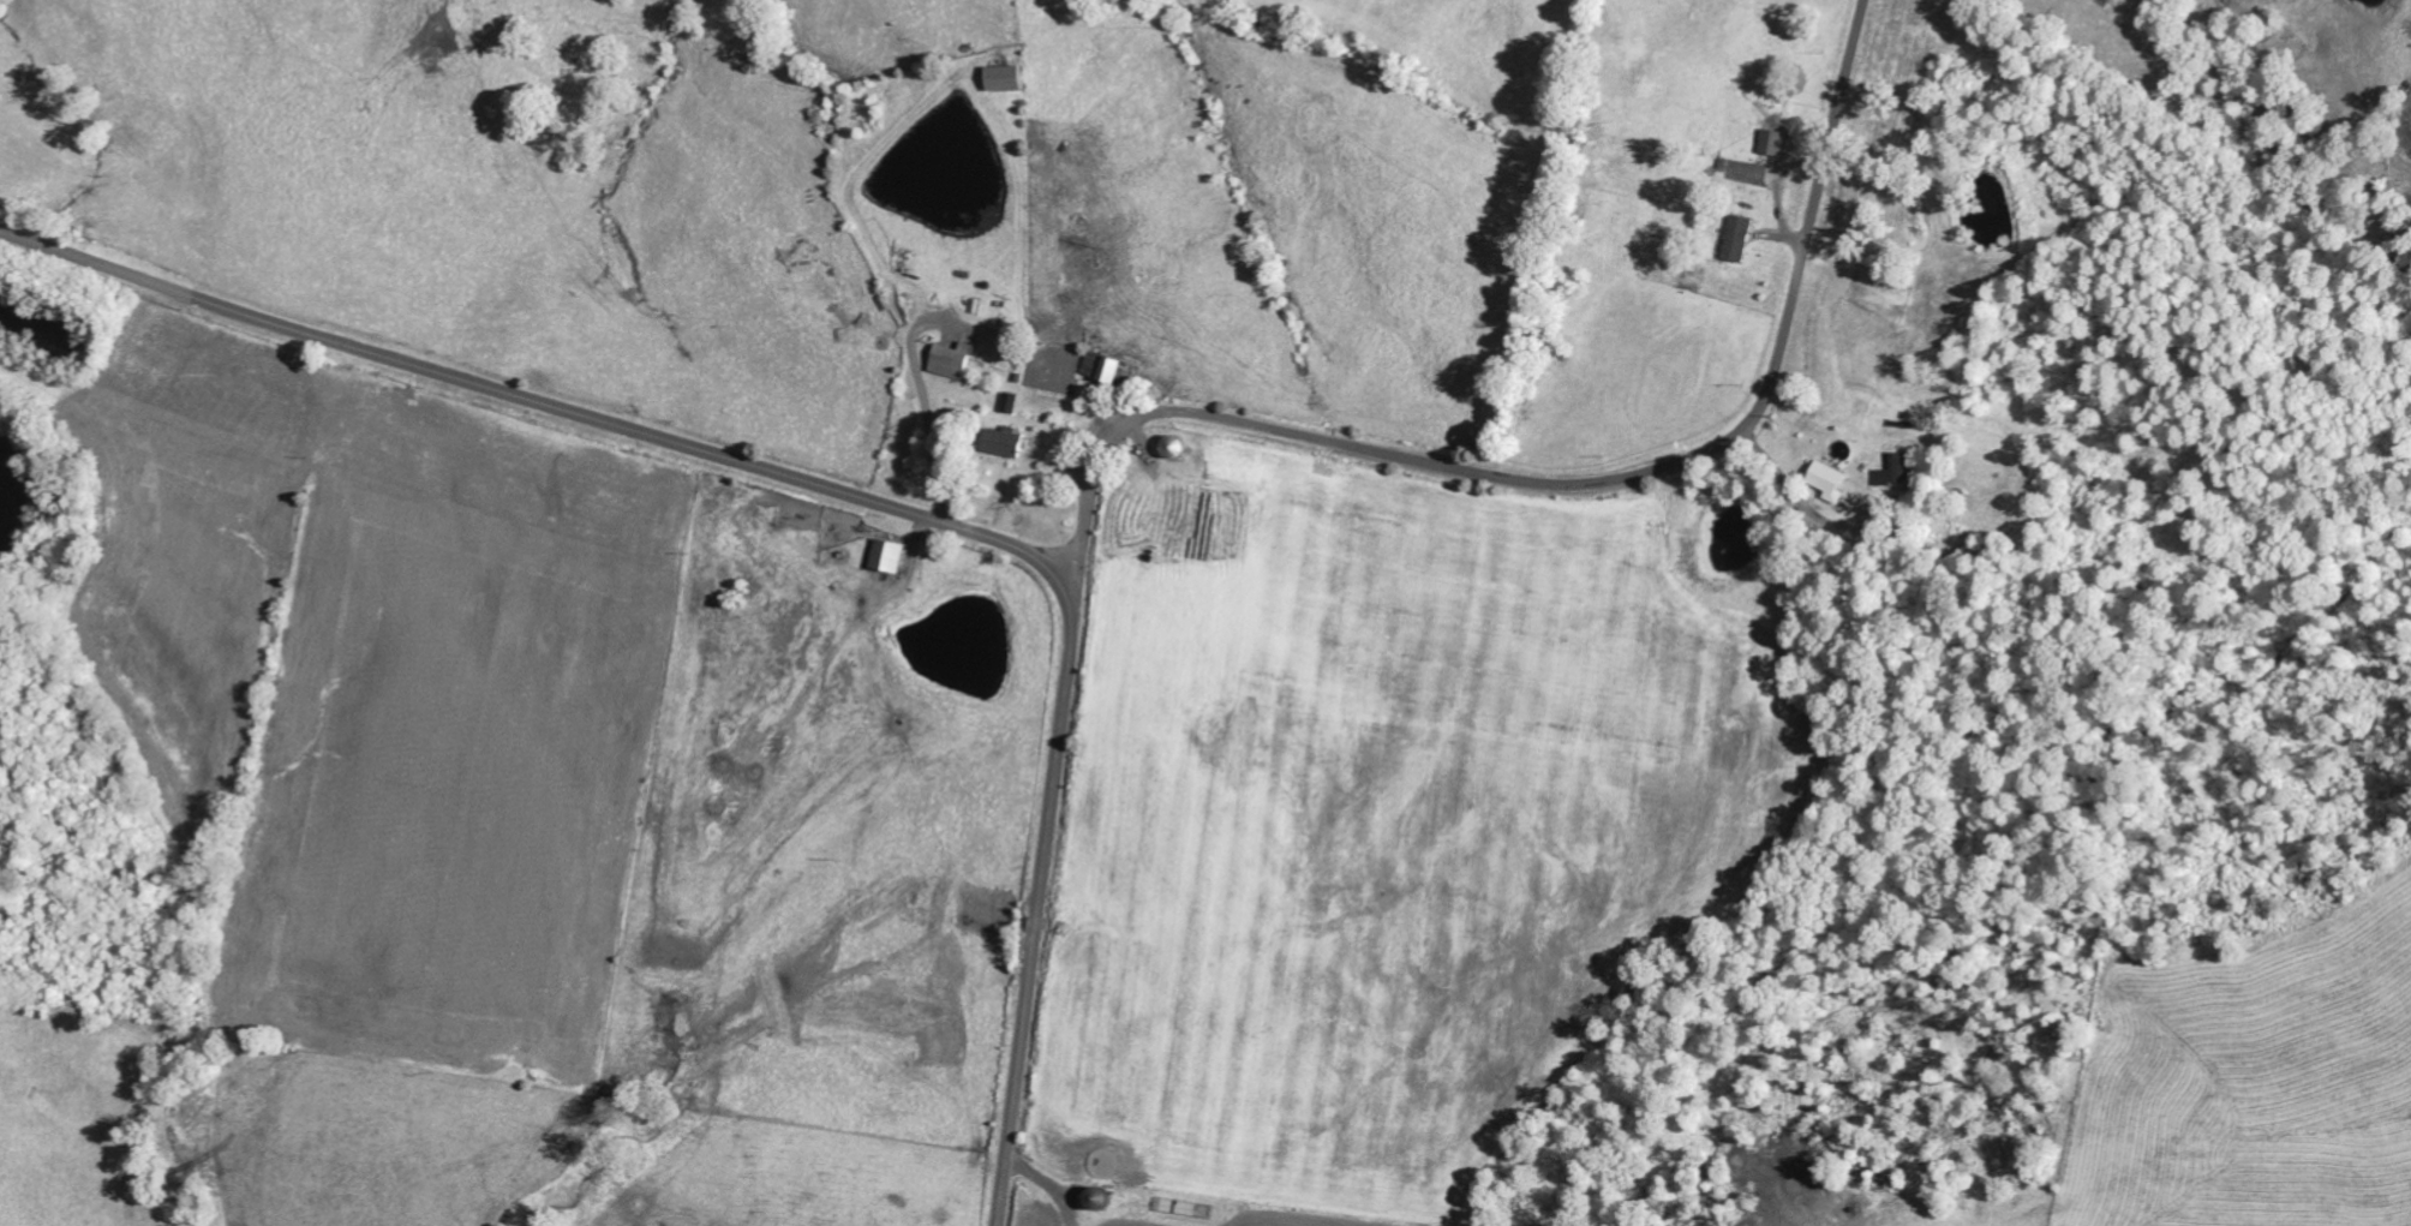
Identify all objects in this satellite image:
building: (1010, 77)
building: (1776, 142)
building: (1742, 238)
building: (955, 360)
building: (1114, 369)
building: (1006, 442)
building: (1901, 471)
building: (1833, 480)
road: (1550, 484)
road: (845, 491)
building: (891, 556)

